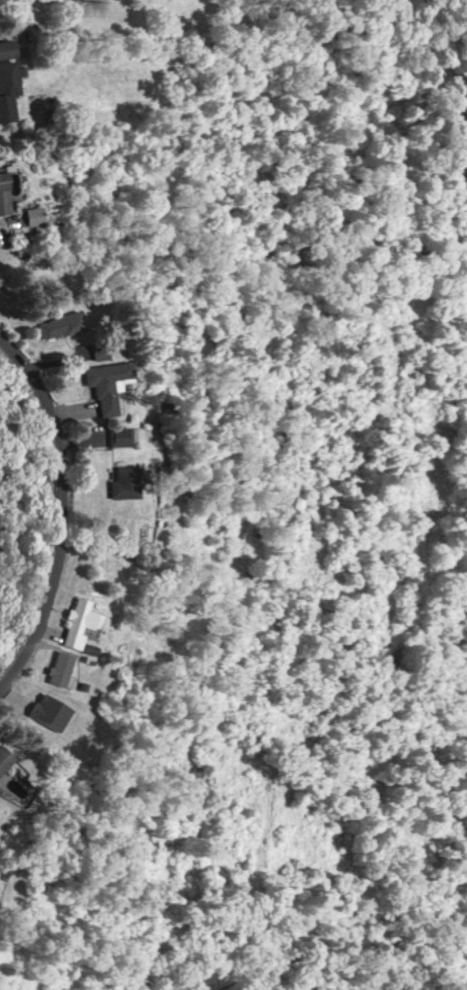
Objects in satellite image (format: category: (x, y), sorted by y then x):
building: (13, 48)
building: (14, 77)
building: (9, 193)
building: (42, 214)
building: (59, 324)
building: (100, 352)
building: (106, 383)
building: (121, 435)
building: (124, 481)
road: (65, 507)
building: (77, 621)
building: (59, 667)
building: (3, 757)

